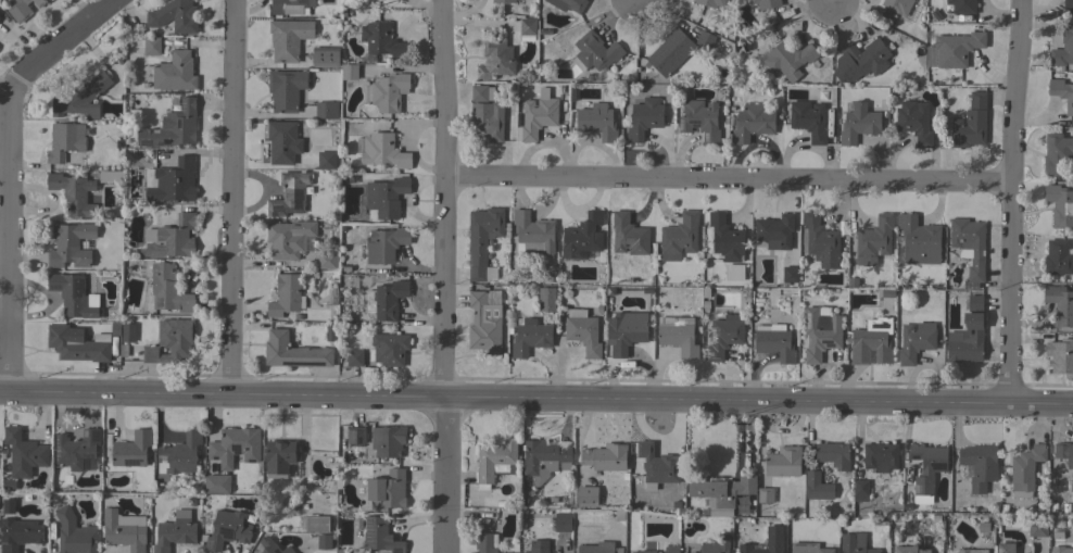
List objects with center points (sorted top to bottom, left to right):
building: (503, 1)
building: (39, 2)
building: (710, 2)
building: (766, 3)
building: (1068, 3)
building: (568, 4)
building: (897, 5)
building: (962, 5)
building: (290, 7)
building: (20, 11)
building: (174, 16)
building: (527, 26)
building: (288, 38)
building: (705, 39)
road: (70, 41)
building: (382, 41)
building: (151, 46)
building: (1063, 48)
building: (954, 50)
building: (594, 51)
building: (670, 52)
building: (325, 56)
building: (788, 59)
building: (864, 59)
building: (495, 60)
building: (174, 72)
building: (349, 72)
building: (286, 89)
building: (388, 92)
building: (1062, 92)
building: (80, 98)
building: (326, 110)
building: (485, 114)
building: (536, 116)
building: (644, 118)
building: (699, 120)
building: (808, 120)
building: (913, 121)
building: (597, 122)
building: (752, 123)
building: (970, 123)
building: (858, 124)
building: (173, 127)
building: (64, 141)
building: (283, 142)
road: (413, 142)
building: (383, 151)
building: (1057, 154)
building: (326, 161)
building: (111, 177)
building: (173, 181)
road: (730, 186)
building: (72, 193)
building: (290, 194)
road: (232, 197)
building: (386, 197)
road: (1010, 201)
building: (1060, 205)
building: (774, 231)
building: (533, 235)
building: (629, 235)
road: (9, 236)
building: (582, 237)
building: (171, 238)
building: (289, 238)
building: (679, 238)
building: (725, 238)
building: (482, 239)
building: (873, 240)
building: (919, 240)
building: (820, 241)
building: (71, 244)
building: (386, 244)
building: (969, 247)
building: (1057, 257)
building: (327, 260)
building: (733, 273)
building: (490, 274)
building: (790, 275)
road: (445, 276)
building: (168, 289)
building: (286, 296)
building: (74, 297)
building: (386, 300)
building: (546, 300)
building: (973, 303)
building: (1060, 305)
building: (484, 324)
building: (582, 331)
building: (626, 331)
building: (128, 332)
building: (820, 332)
building: (678, 336)
building: (723, 336)
building: (530, 337)
building: (965, 340)
building: (171, 341)
building: (871, 341)
building: (916, 341)
building: (774, 342)
building: (78, 344)
building: (390, 349)
building: (293, 352)
building: (1059, 356)
building: (354, 357)
road: (535, 403)
building: (355, 435)
building: (388, 440)
building: (235, 447)
building: (76, 449)
building: (131, 450)
building: (24, 453)
building: (1064, 453)
building: (833, 454)
building: (179, 455)
building: (605, 456)
building: (880, 456)
building: (279, 458)
building: (543, 461)
building: (495, 462)
building: (783, 462)
building: (657, 465)
building: (980, 465)
building: (926, 466)
building: (1025, 470)
building: (624, 477)
building: (216, 483)
building: (649, 487)
building: (818, 487)
building: (721, 489)
building: (387, 490)
building: (860, 490)
building: (766, 495)
building: (586, 497)
building: (204, 500)
building: (552, 500)
building: (840, 500)
building: (925, 500)
building: (676, 505)
building: (8, 506)
building: (1052, 507)
building: (1065, 507)
building: (717, 511)
building: (746, 511)
building: (619, 515)
building: (885, 517)
building: (250, 518)
building: (935, 518)
building: (749, 520)
building: (563, 521)
building: (316, 524)
building: (842, 524)
building: (983, 528)
building: (1037, 528)
building: (227, 530)
building: (124, 531)
building: (175, 532)
building: (18, 533)
building: (74, 533)
building: (379, 536)
building: (325, 540)
building: (485, 542)
building: (855, 543)
building: (944, 543)
building: (716, 544)
building: (980, 544)
building: (1060, 544)
building: (272, 545)
building: (538, 546)
building: (599, 548)
building: (753, 548)
building: (1005, 548)
building: (909, 550)
building: (824, 551)
building: (971, 551)
building: (644, 552)
building: (657, 552)

